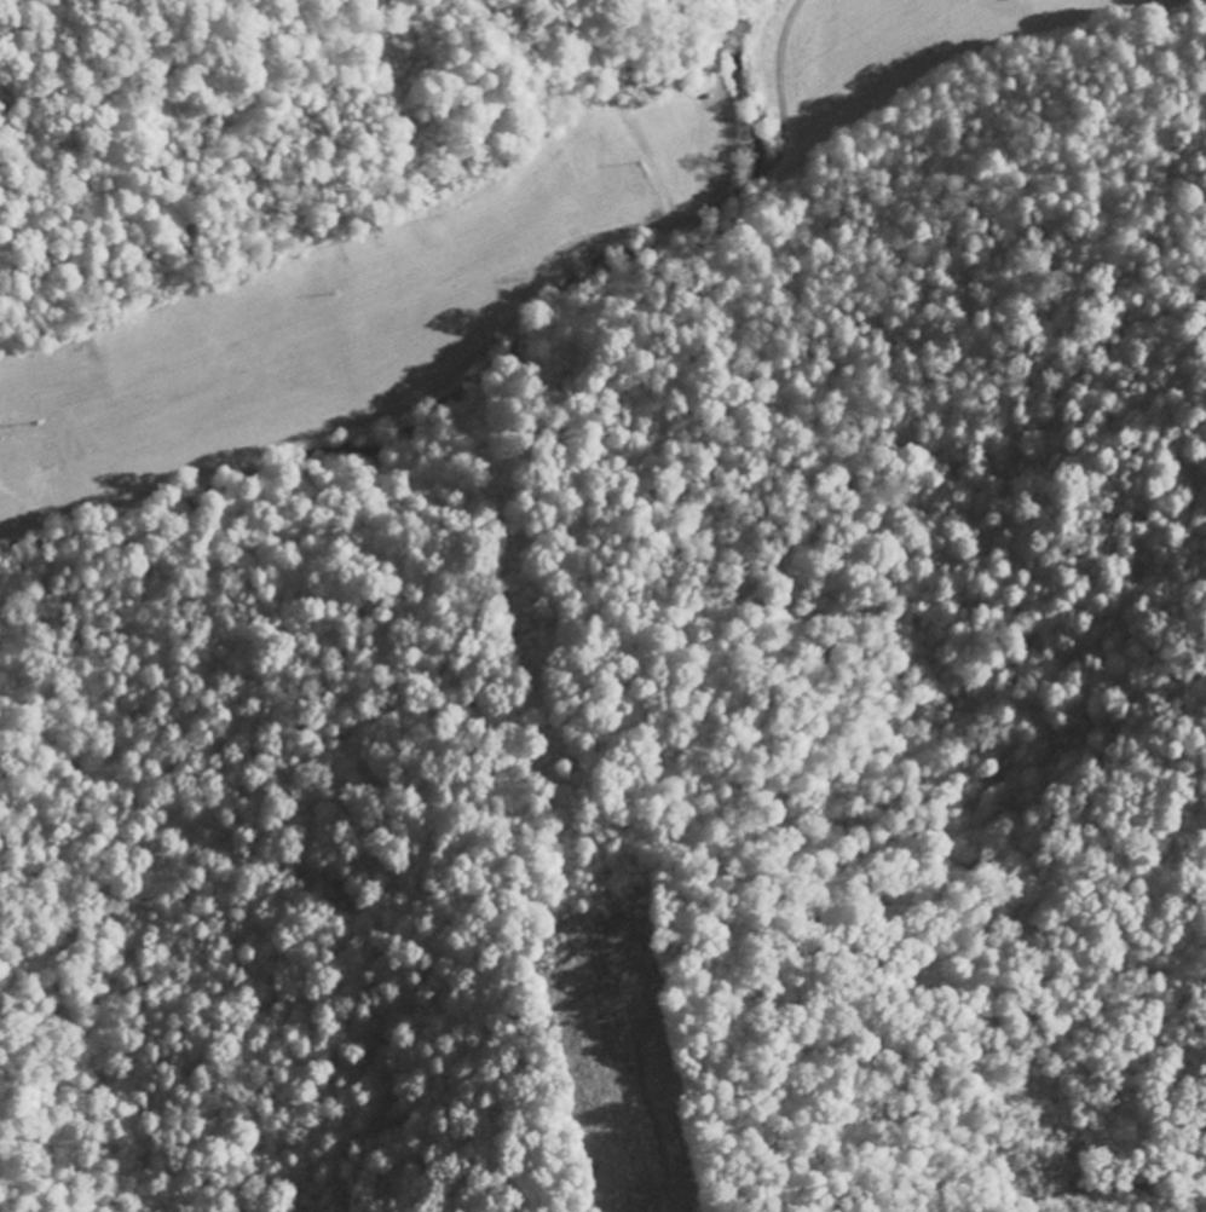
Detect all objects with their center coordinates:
road: (487, 345)

